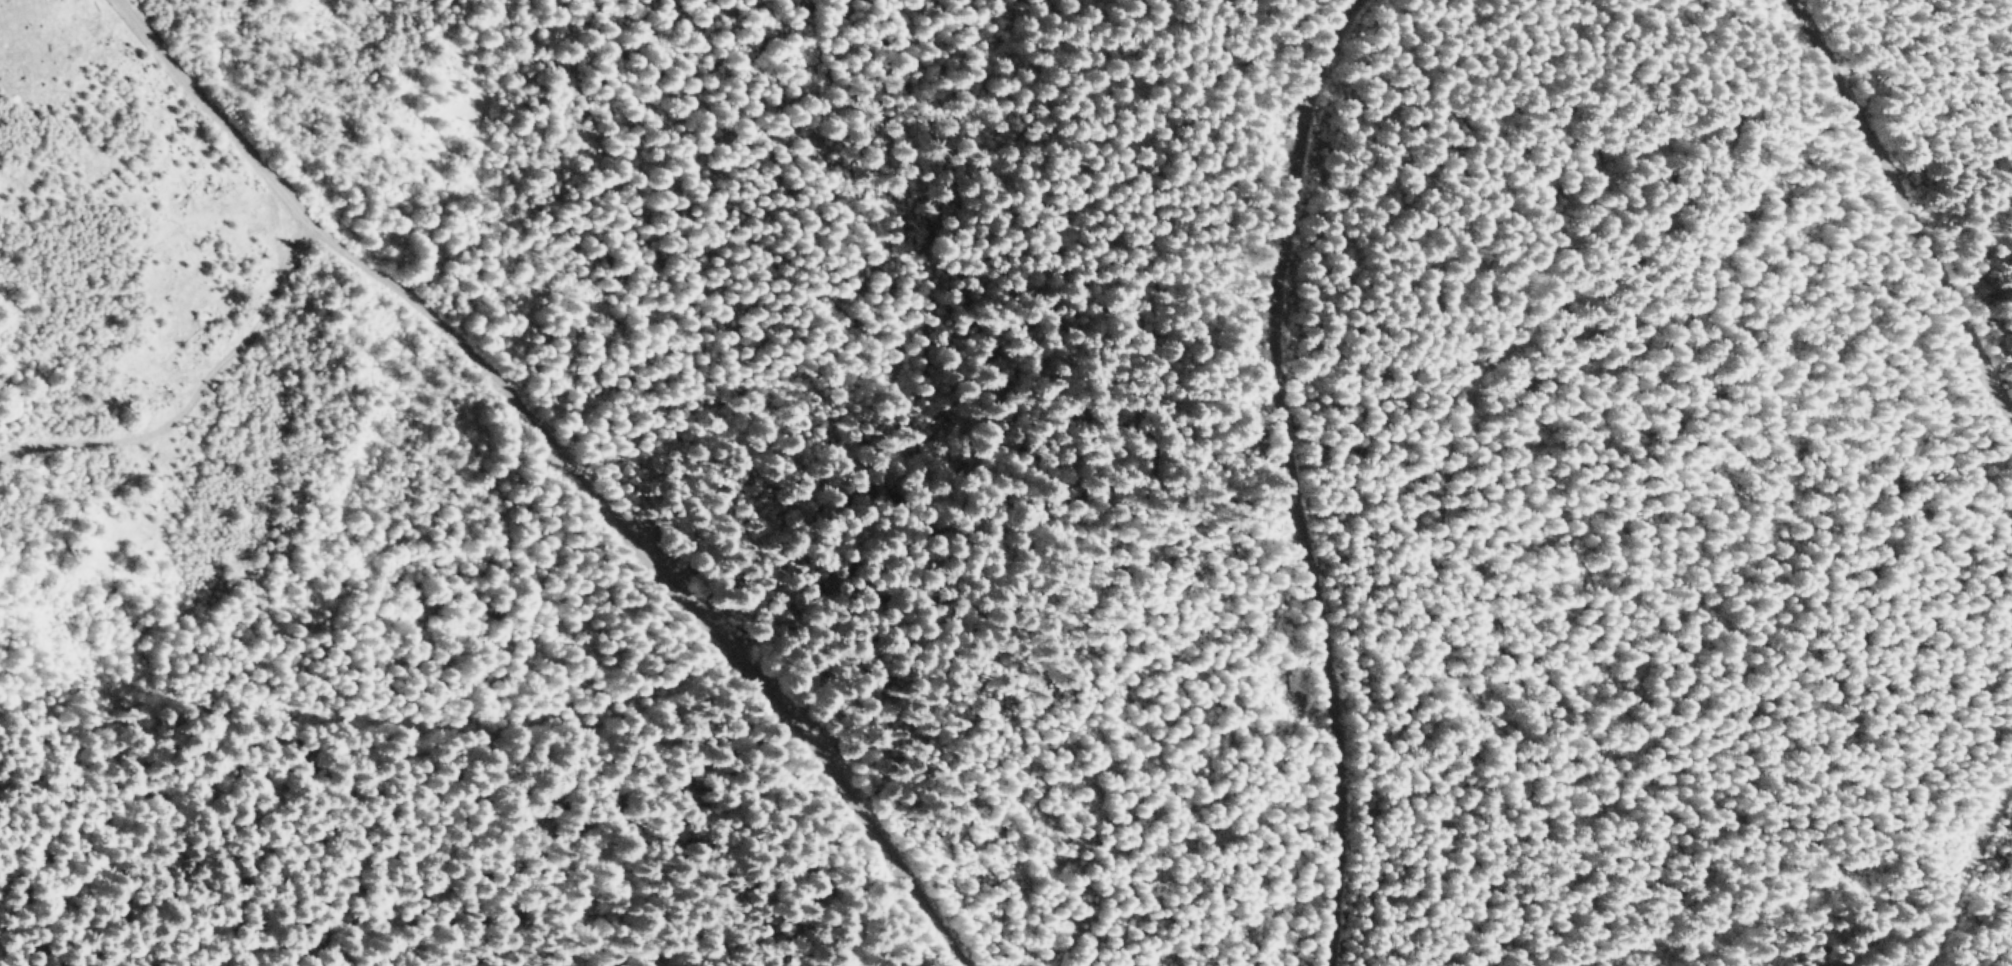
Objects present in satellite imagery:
road: (1899, 205)
road: (566, 461)
road: (1286, 477)

